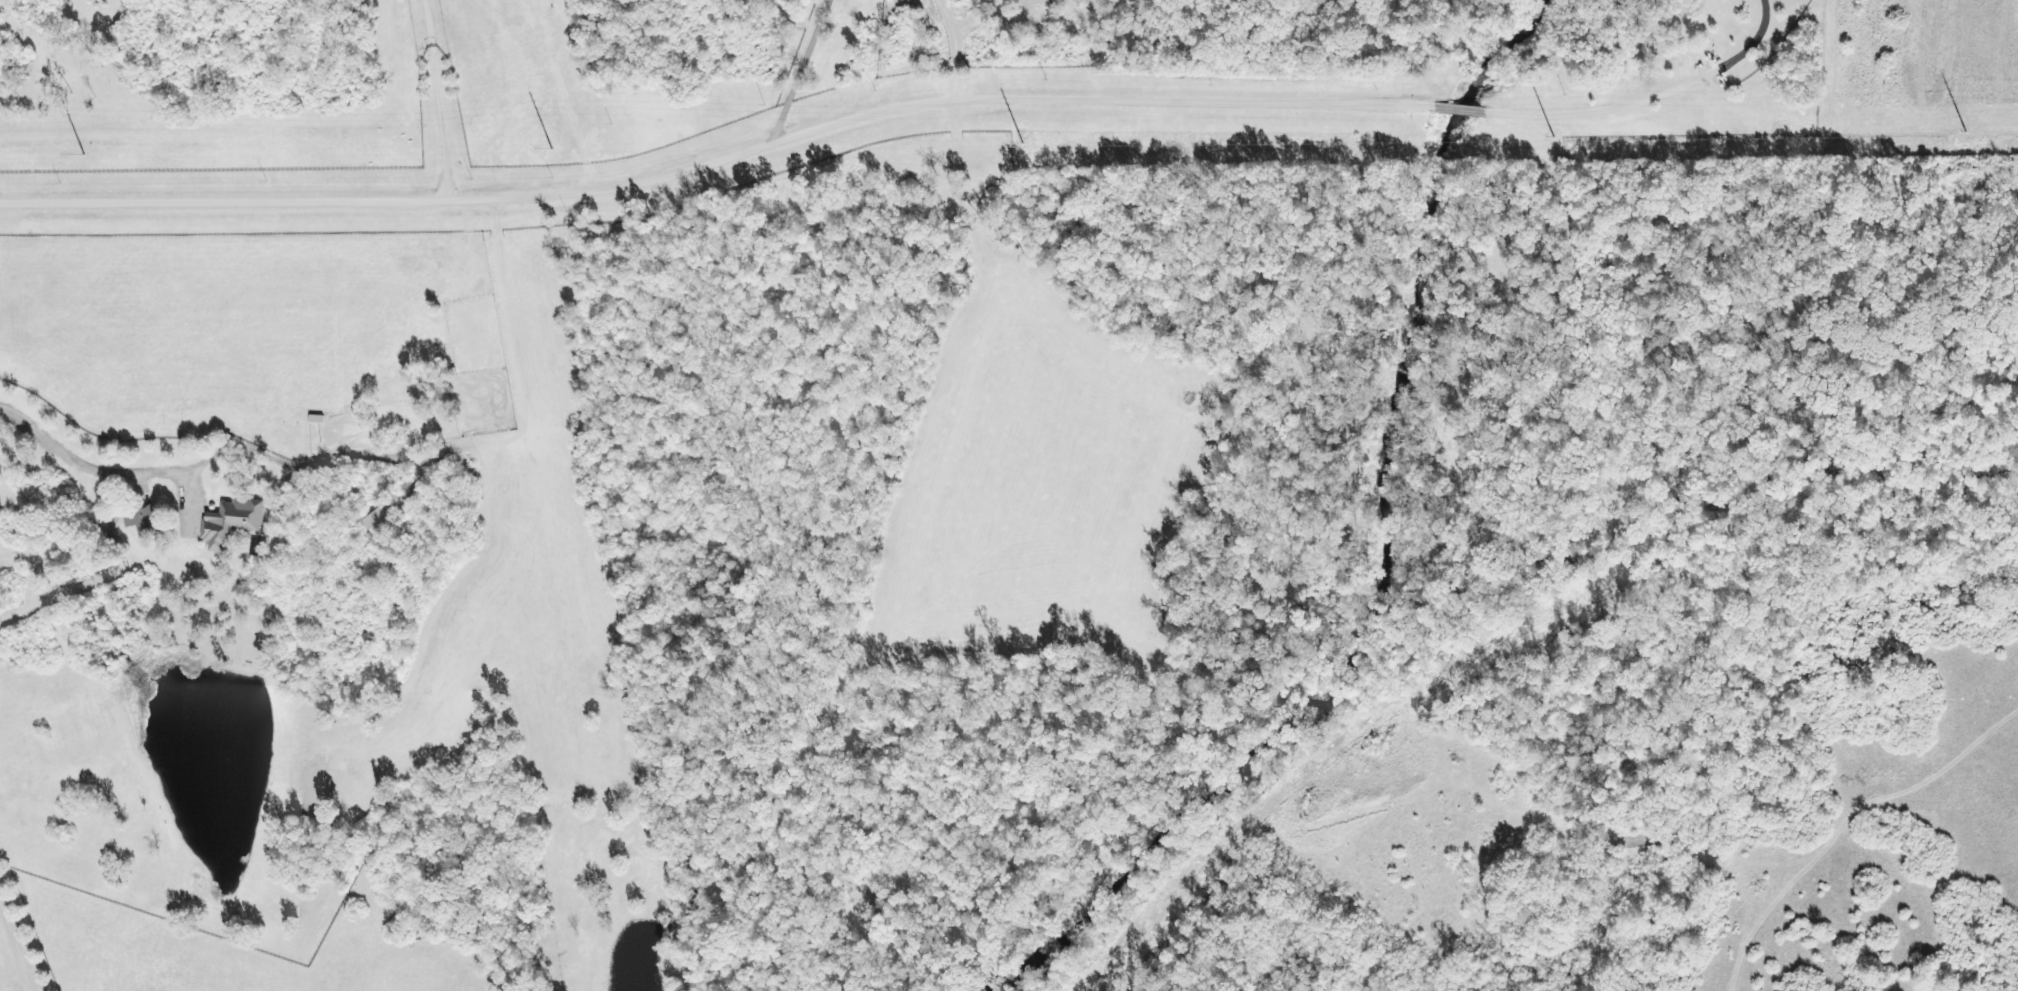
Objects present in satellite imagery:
road: (971, 30)
road: (1752, 36)
road: (796, 70)
road: (441, 98)
road: (1604, 104)
road: (1457, 107)
power tower: (1966, 132)
power tower: (1555, 138)
power tower: (1023, 141)
power tower: (551, 150)
power tower: (85, 155)
road: (719, 165)
road: (82, 474)
building: (134, 521)
building: (231, 523)
road: (15, 955)

